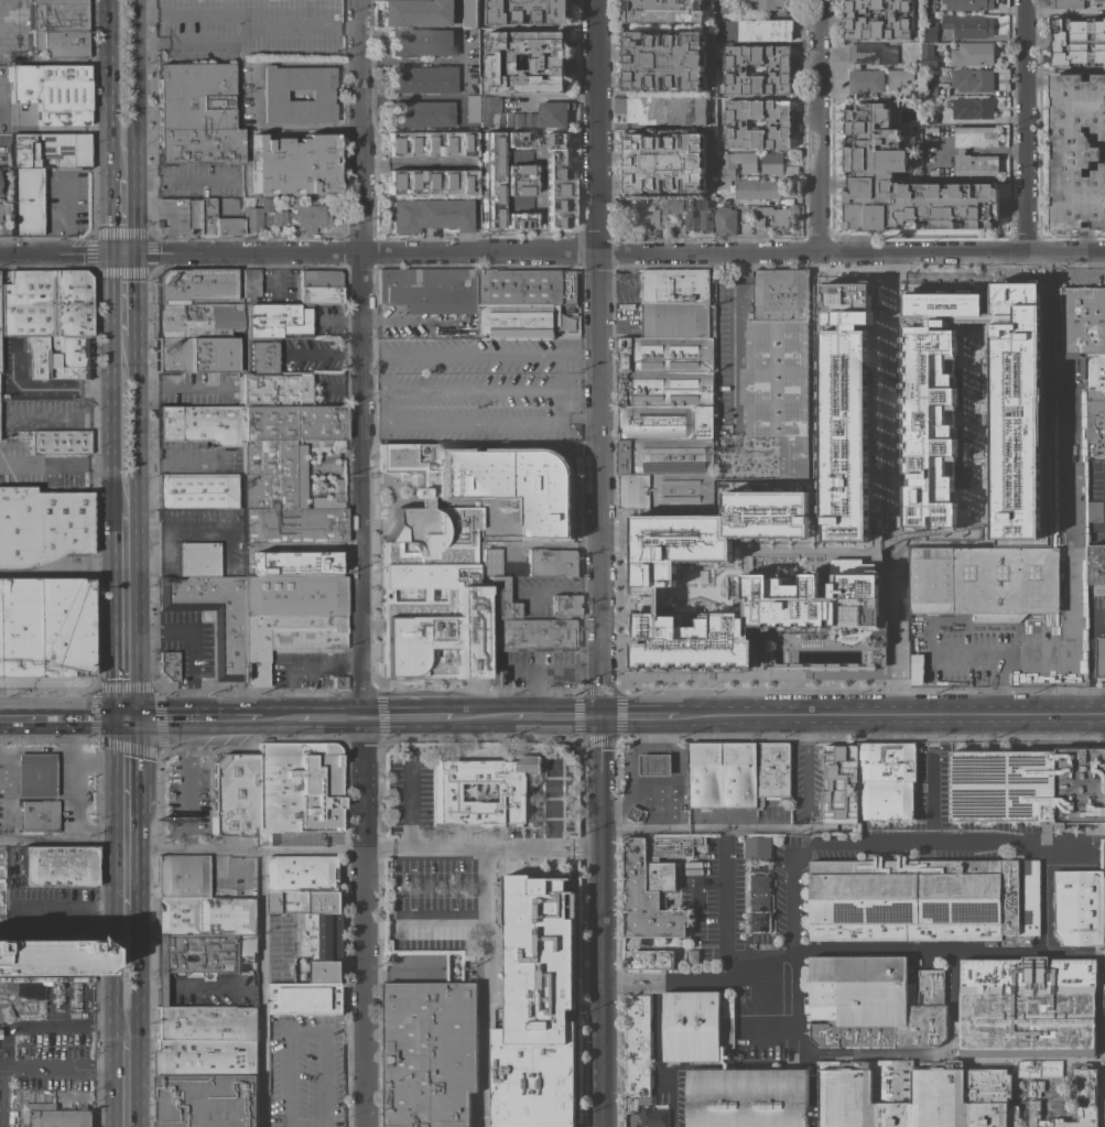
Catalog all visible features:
building: (1085, 0)
building: (1066, 3)
building: (1103, 3)
building: (766, 4)
building: (968, 4)
building: (928, 7)
building: (726, 9)
road: (191, 10)
building: (528, 10)
building: (663, 10)
building: (421, 12)
building: (469, 13)
building: (877, 19)
building: (968, 24)
road: (288, 26)
building: (57, 29)
building: (765, 30)
building: (929, 32)
building: (1076, 41)
building: (421, 42)
road: (191, 43)
building: (871, 53)
building: (973, 53)
building: (929, 55)
building: (549, 59)
building: (664, 59)
building: (728, 68)
road: (105, 75)
road: (133, 75)
building: (898, 77)
building: (421, 79)
building: (866, 79)
building: (972, 79)
building: (930, 89)
building: (51, 94)
building: (273, 95)
building: (972, 108)
building: (470, 109)
building: (667, 110)
building: (420, 113)
building: (553, 113)
building: (195, 115)
building: (502, 116)
building: (929, 117)
building: (728, 123)
road: (817, 124)
road: (1021, 126)
road: (358, 127)
building: (931, 136)
building: (517, 139)
building: (429, 142)
building: (961, 150)
building: (1077, 151)
building: (707, 159)
road: (415, 162)
building: (664, 162)
building: (772, 162)
building: (292, 165)
road: (115, 166)
road: (128, 166)
building: (733, 166)
building: (792, 169)
building: (39, 172)
building: (933, 172)
building: (557, 178)
building: (489, 180)
building: (517, 180)
road: (173, 181)
building: (430, 181)
building: (902, 181)
building: (757, 188)
road: (537, 199)
building: (671, 205)
building: (4, 209)
building: (700, 214)
building: (251, 215)
building: (429, 215)
building: (772, 216)
road: (121, 217)
building: (205, 217)
building: (307, 217)
building: (651, 219)
building: (517, 220)
building: (725, 220)
building: (227, 227)
building: (682, 230)
traffic signals: (121, 253)
road: (552, 253)
building: (248, 283)
building: (675, 285)
building: (191, 286)
building: (528, 286)
building: (318, 288)
building: (431, 290)
road: (120, 294)
building: (45, 304)
building: (1043, 311)
building: (678, 319)
building: (1083, 319)
building: (197, 321)
building: (277, 321)
building: (516, 321)
road: (597, 334)
road: (732, 350)
road: (324, 353)
road: (372, 353)
building: (197, 355)
building: (261, 355)
building: (56, 357)
building: (779, 364)
road: (386, 369)
building: (665, 370)
building: (1094, 376)
road: (178, 387)
road: (37, 389)
building: (275, 389)
road: (336, 389)
road: (560, 389)
road: (372, 405)
building: (931, 407)
building: (1015, 409)
building: (844, 411)
building: (665, 421)
road: (134, 423)
building: (292, 423)
road: (108, 424)
road: (457, 424)
building: (201, 425)
building: (1095, 425)
building: (59, 442)
building: (665, 455)
road: (54, 458)
road: (361, 460)
building: (281, 478)
building: (665, 489)
building: (201, 491)
building: (1095, 511)
road: (890, 513)
building: (41, 525)
building: (292, 525)
road: (616, 535)
building: (456, 546)
road: (1074, 559)
building: (196, 560)
building: (490, 562)
building: (552, 562)
building: (1096, 564)
building: (855, 577)
building: (979, 587)
building: (293, 596)
building: (499, 600)
building: (563, 606)
road: (126, 614)
building: (213, 617)
building: (43, 628)
building: (532, 635)
building: (286, 639)
road: (187, 643)
road: (996, 652)
building: (1101, 657)
building: (167, 665)
road: (531, 668)
road: (585, 668)
parking lot: (303, 669)
parking lot: (532, 669)
road: (305, 670)
building: (338, 683)
road: (534, 692)
road: (602, 692)
road: (365, 694)
road: (891, 714)
road: (641, 715)
road: (555, 716)
traffic signals: (603, 716)
road: (63, 717)
traffic signals: (128, 717)
road: (194, 717)
road: (411, 717)
road: (483, 717)
road: (279, 718)
road: (332, 718)
road: (34, 749)
road: (98, 762)
building: (656, 763)
road: (128, 766)
road: (805, 771)
building: (723, 774)
building: (772, 774)
building: (34, 776)
road: (69, 778)
building: (886, 780)
road: (188, 783)
building: (839, 783)
building: (1003, 785)
building: (1080, 785)
building: (514, 788)
building: (297, 789)
gas station: (657, 789)
building: (234, 794)
road: (933, 794)
road: (409, 806)
building: (635, 812)
building: (37, 816)
road: (729, 828)
road: (723, 833)
road: (968, 839)
road: (64, 841)
building: (670, 846)
building: (758, 848)
road: (191, 849)
road: (308, 849)
road: (481, 850)
road: (128, 860)
building: (56, 867)
building: (304, 873)
building: (661, 875)
building: (180, 877)
building: (1019, 882)
building: (958, 890)
building: (864, 891)
building: (647, 898)
building: (760, 901)
road: (791, 901)
road: (723, 906)
building: (1080, 907)
road: (64, 908)
building: (206, 917)
road: (440, 919)
road: (602, 921)
road: (361, 922)
building: (1018, 925)
building: (315, 930)
building: (857, 931)
building: (930, 931)
building: (976, 931)
road: (903, 949)
building: (199, 954)
building: (693, 956)
building: (46, 958)
building: (650, 958)
road: (478, 966)
road: (127, 974)
road: (621, 975)
building: (1063, 975)
building: (995, 976)
road: (676, 977)
building: (640, 982)
road: (675, 985)
building: (925, 987)
road: (261, 988)
road: (621, 988)
building: (858, 989)
building: (23, 990)
building: (305, 998)
road: (777, 1003)
building: (537, 1007)
building: (6, 1012)
building: (206, 1023)
building: (1029, 1023)
building: (695, 1026)
road: (19, 1027)
building: (922, 1027)
road: (306, 1031)
building: (852, 1034)
road: (487, 1043)
building: (637, 1050)
building: (430, 1053)
road: (658, 1053)
road: (893, 1053)
building: (206, 1058)
building: (1039, 1068)
road: (65, 1069)
building: (892, 1081)
road: (126, 1083)
building: (985, 1085)
building: (1034, 1087)
building: (1088, 1092)
building: (938, 1093)
building: (749, 1097)
building: (855, 1098)
building: (207, 1101)
building: (985, 1114)
building: (11, 1116)
building: (653, 1116)
building: (1012, 1116)
building: (62, 1118)
road: (310, 1125)

